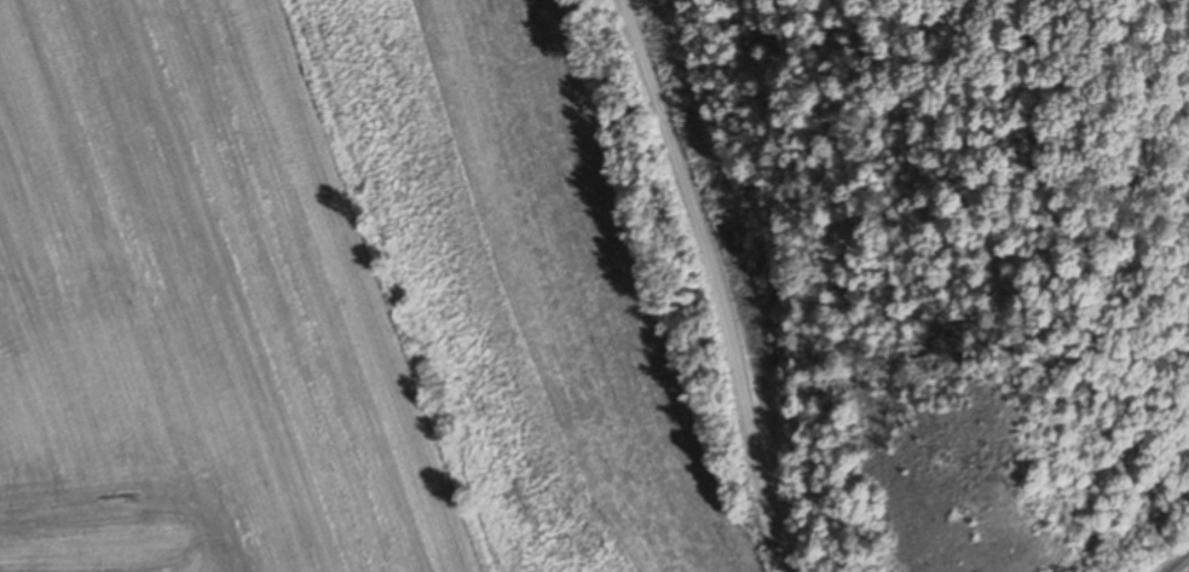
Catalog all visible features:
road: (722, 282)
road: (1177, 562)

